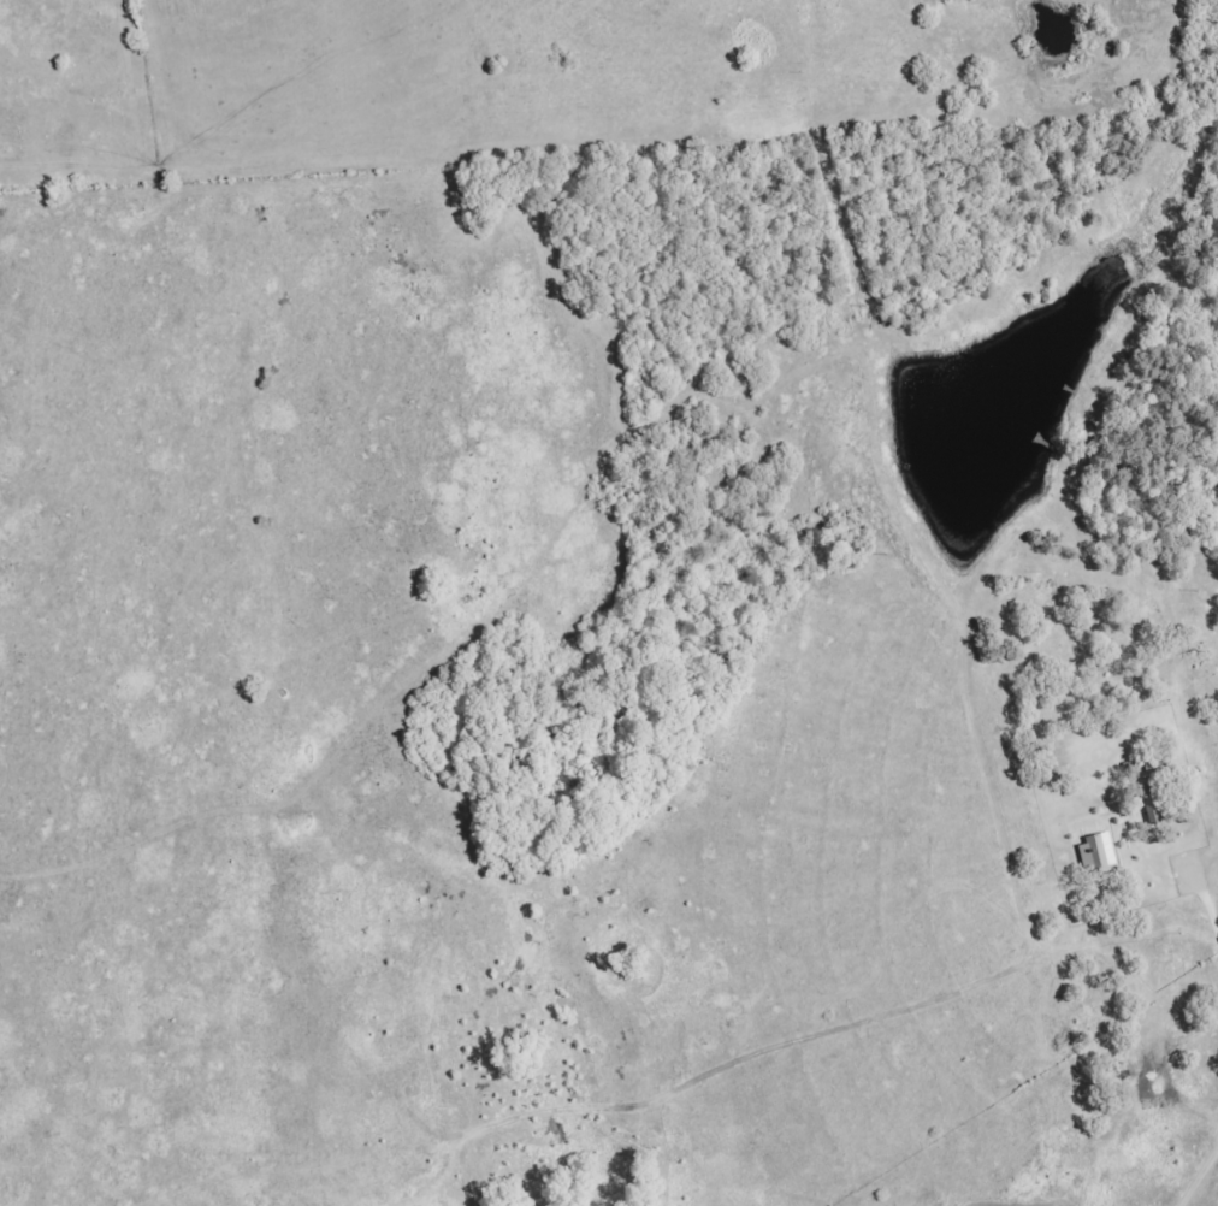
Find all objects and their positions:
building: (1159, 811)
building: (1099, 856)

